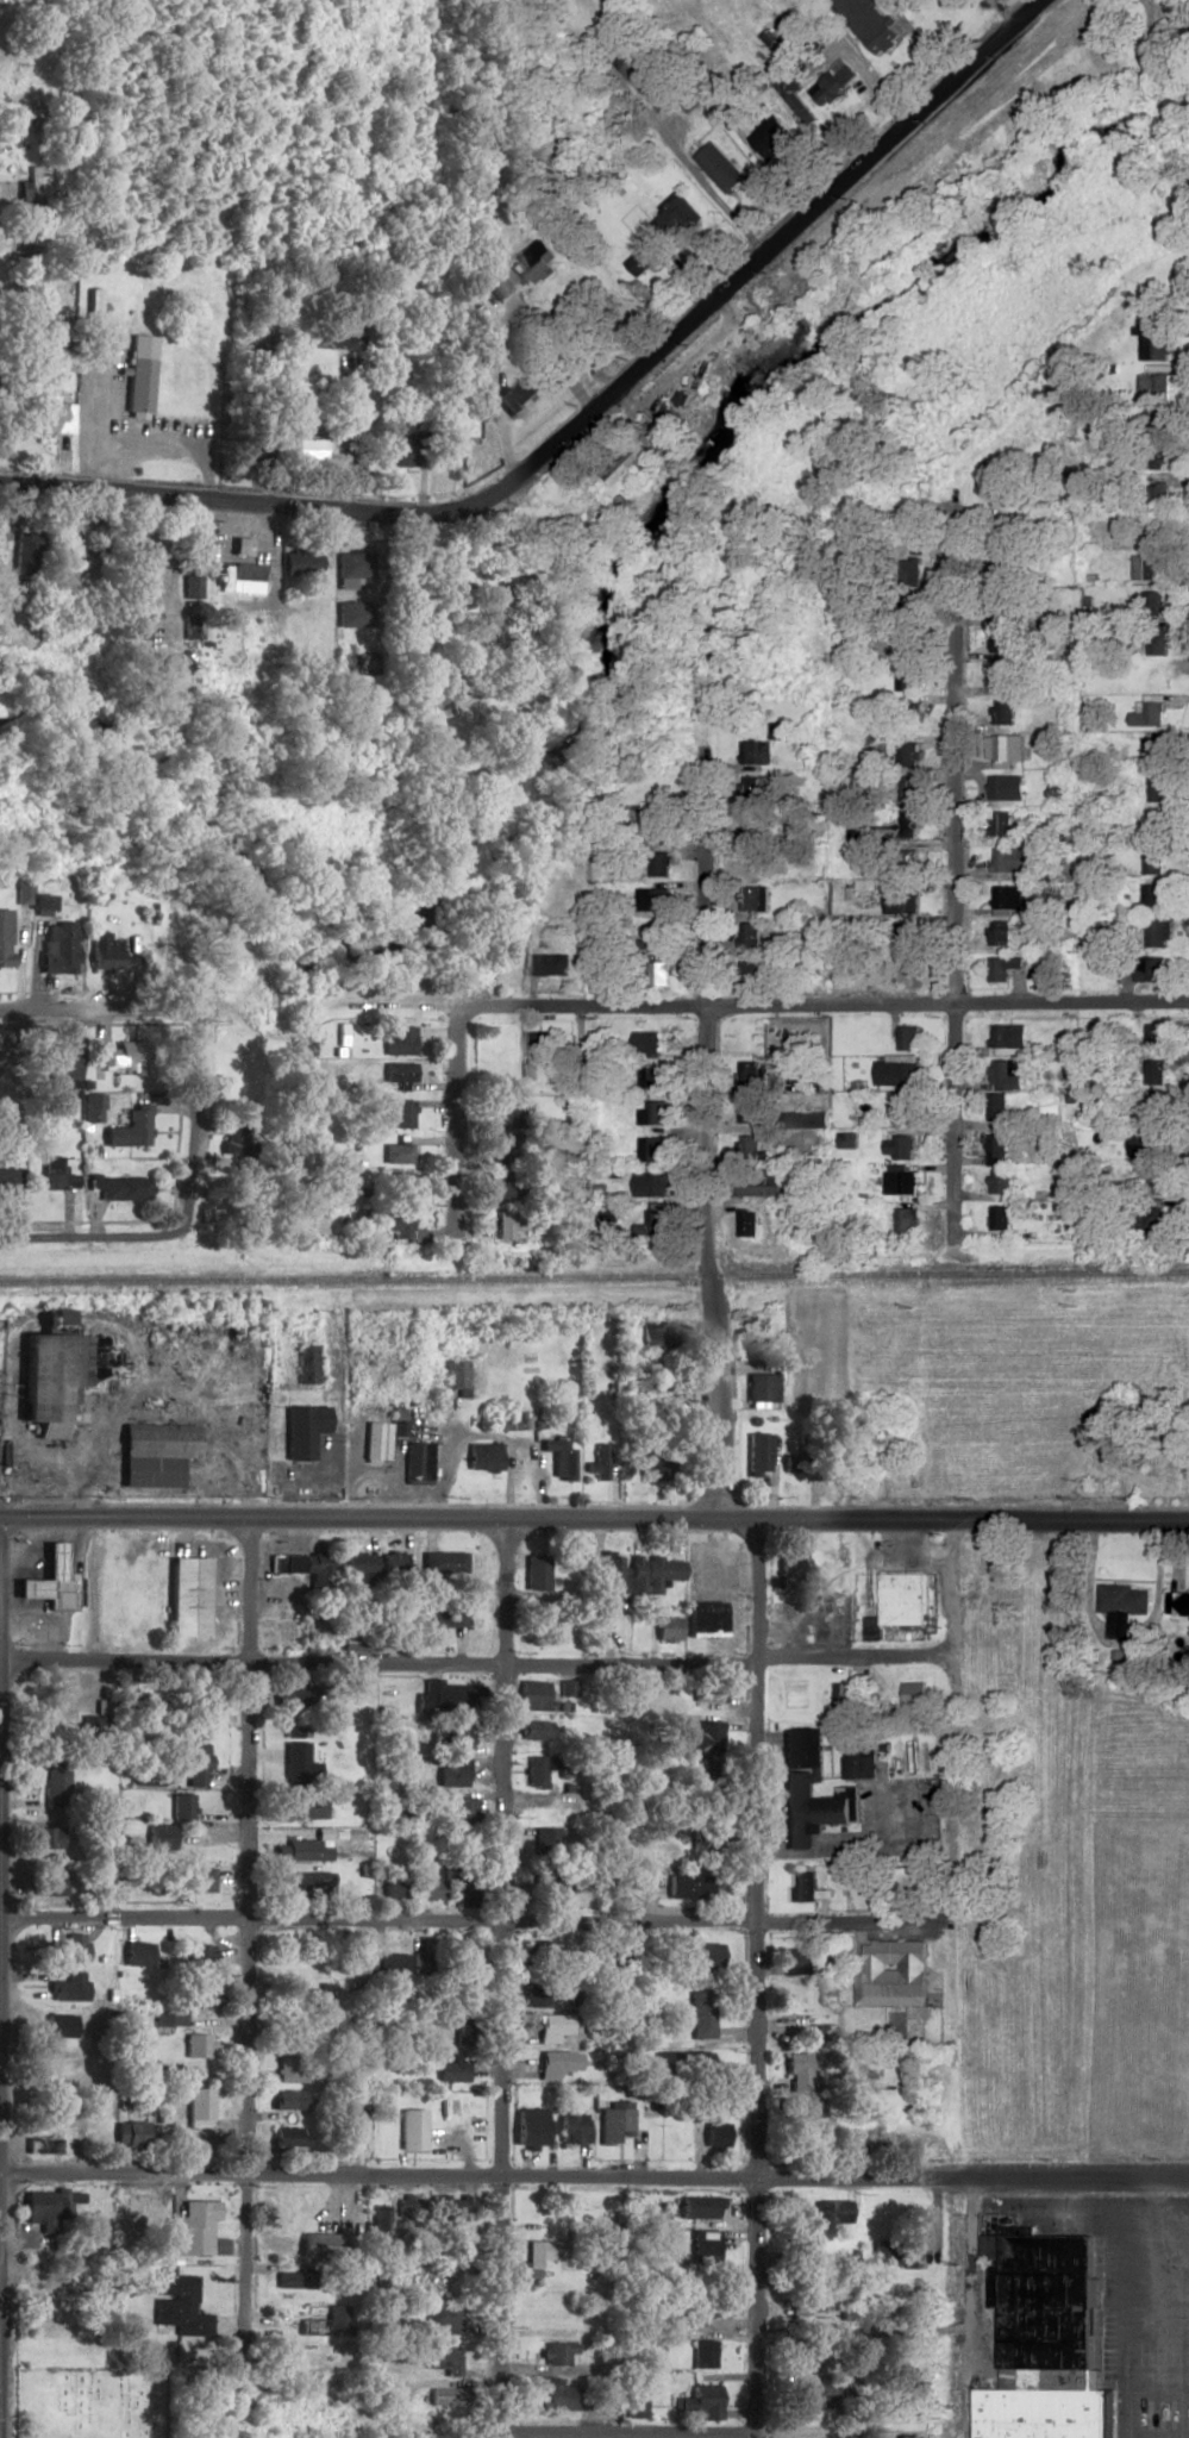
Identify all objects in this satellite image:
building: (868, 24)
building: (1164, 27)
road: (919, 40)
building: (647, 79)
road: (870, 79)
building: (31, 113)
building: (720, 167)
building: (33, 188)
road: (725, 212)
building: (495, 285)
building: (32, 299)
building: (93, 317)
building: (332, 336)
building: (1154, 344)
building: (138, 388)
building: (517, 395)
road: (488, 406)
building: (44, 410)
road: (584, 418)
building: (401, 444)
road: (350, 445)
building: (308, 446)
building: (248, 448)
building: (1153, 456)
building: (631, 462)
building: (1158, 495)
road: (271, 537)
building: (137, 551)
building: (23, 554)
building: (300, 563)
building: (351, 568)
building: (1147, 569)
building: (233, 573)
building: (137, 590)
building: (1154, 605)
building: (350, 615)
building: (137, 629)
building: (1003, 631)
building: (1157, 643)
building: (161, 661)
building: (1002, 677)
building: (1156, 677)
building: (908, 679)
building: (1002, 713)
building: (1147, 715)
building: (763, 749)
building: (1003, 749)
building: (1152, 750)
building: (908, 756)
building: (1006, 788)
building: (907, 789)
building: (1156, 789)
building: (909, 823)
building: (1156, 824)
building: (999, 825)
building: (655, 829)
building: (1009, 861)
building: (755, 862)
road: (955, 862)
building: (1151, 863)
building: (661, 865)
building: (1151, 895)
building: (753, 899)
building: (653, 901)
building: (1008, 901)
building: (900, 902)
building: (37, 904)
building: (903, 933)
building: (997, 934)
building: (1156, 934)
building: (749, 937)
building: (2, 939)
building: (657, 939)
building: (54, 949)
building: (101, 951)
building: (213, 957)
building: (549, 965)
building: (1001, 969)
building: (1147, 970)
building: (900, 973)
building: (659, 975)
road: (828, 1006)
road: (90, 1009)
building: (1007, 1037)
building: (1154, 1037)
building: (907, 1039)
building: (393, 1042)
building: (649, 1045)
building: (540, 1048)
building: (119, 1058)
building: (56, 1065)
building: (393, 1073)
building: (750, 1075)
building: (893, 1075)
building: (1006, 1076)
building: (653, 1077)
building: (995, 1106)
road: (446, 1109)
building: (1149, 1111)
building: (749, 1112)
building: (901, 1112)
building: (398, 1114)
building: (655, 1114)
building: (805, 1120)
road: (188, 1124)
building: (133, 1125)
building: (507, 1142)
building: (1141, 1144)
building: (897, 1148)
building: (652, 1150)
building: (995, 1150)
building: (752, 1151)
road: (708, 1152)
building: (392, 1154)
building: (51, 1175)
building: (8, 1180)
building: (999, 1182)
building: (900, 1183)
building: (650, 1184)
building: (757, 1184)
building: (396, 1187)
building: (114, 1188)
building: (999, 1218)
building: (1150, 1219)
building: (905, 1220)
building: (656, 1221)
building: (393, 1223)
building: (507, 1224)
building: (746, 1224)
road: (82, 1236)
railway: (594, 1276)
building: (659, 1332)
building: (303, 1365)
building: (452, 1377)
building: (48, 1383)
building: (759, 1388)
road: (100, 1420)
building: (301, 1421)
building: (155, 1440)
building: (373, 1442)
building: (757, 1454)
building: (482, 1457)
building: (558, 1458)
building: (1162, 1461)
building: (596, 1462)
building: (414, 1463)
building: (653, 1469)
building: (146, 1475)
road: (594, 1519)
building: (443, 1562)
building: (389, 1563)
building: (303, 1564)
building: (357, 1567)
building: (534, 1571)
building: (789, 1571)
building: (651, 1573)
building: (611, 1575)
building: (48, 1579)
gas station: (48, 1579)
building: (186, 1595)
building: (896, 1604)
building: (1178, 1604)
building: (1122, 1606)
building: (442, 1615)
building: (665, 1629)
road: (1116, 1650)
road: (474, 1667)
building: (715, 1692)
building: (289, 1695)
building: (439, 1695)
building: (530, 1695)
building: (532, 1730)
building: (702, 1738)
road: (945, 1749)
building: (293, 1758)
building: (193, 1759)
building: (859, 1761)
building: (536, 1769)
building: (445, 1776)
building: (55, 1787)
building: (808, 1790)
building: (303, 1806)
building: (179, 1807)
building: (461, 1811)
building: (158, 1837)
building: (43, 1838)
building: (547, 1838)
building: (314, 1855)
building: (192, 1878)
building: (462, 1880)
building: (307, 1881)
building: (46, 1882)
building: (393, 1882)
building: (550, 1884)
building: (686, 1886)
building: (803, 1887)
building: (428, 1888)
road: (243, 1919)
road: (437, 1921)
building: (68, 1948)
building: (537, 1950)
building: (134, 1953)
building: (198, 1956)
building: (703, 1959)
building: (797, 1961)
building: (388, 1963)
building: (462, 1964)
building: (891, 1974)
road: (495, 1978)
road: (743, 1978)
building: (74, 1984)
building: (533, 1994)
building: (198, 2000)
building: (312, 2000)
building: (700, 2017)
building: (167, 2019)
building: (57, 2025)
building: (551, 2027)
building: (196, 2045)
building: (64, 2061)
building: (555, 2063)
building: (289, 2064)
building: (450, 2069)
building: (796, 2073)
building: (286, 2099)
building: (198, 2113)
building: (613, 2121)
building: (528, 2126)
building: (571, 2128)
building: (411, 2130)
building: (129, 2132)
building: (348, 2133)
building: (713, 2134)
building: (287, 2137)
road: (594, 2175)
building: (38, 2205)
building: (697, 2207)
building: (449, 2211)
building: (830, 2211)
building: (409, 2214)
building: (378, 2218)
building: (193, 2230)
building: (702, 2245)
building: (318, 2248)
building: (542, 2251)
building: (902, 2253)
road: (1134, 2262)
road: (969, 2273)
building: (295, 2280)
building: (420, 2283)
building: (173, 2302)
building: (701, 2306)
building: (1041, 2309)
building: (442, 2318)
building: (812, 2342)
building: (555, 2353)
building: (701, 2353)
building: (440, 2359)
road: (1144, 2367)
building: (557, 2395)
building: (815, 2396)
park: (89, 2399)
building: (705, 2401)
building: (1043, 2413)
road: (615, 2432)
road: (633, 2434)

